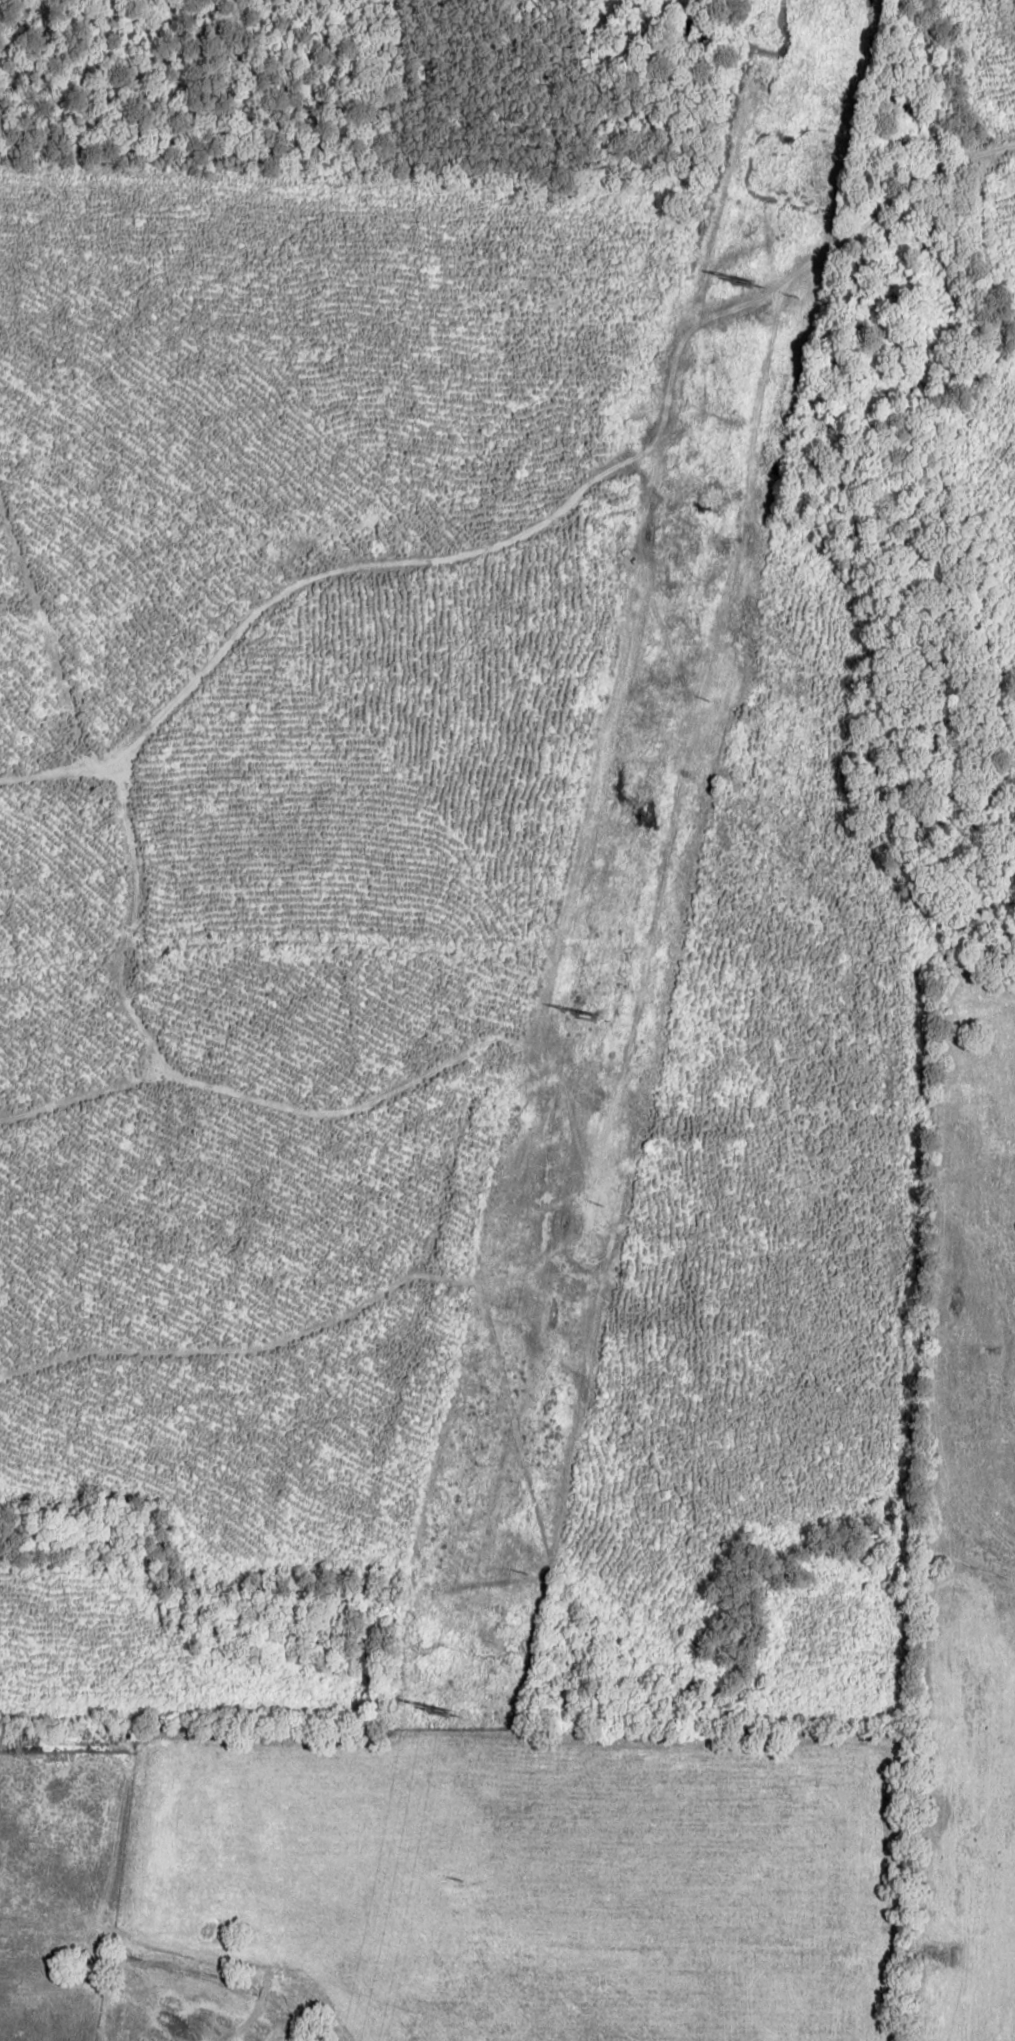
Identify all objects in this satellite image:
power tower: (732, 288)
power tower: (573, 1015)
power tower: (421, 1713)

